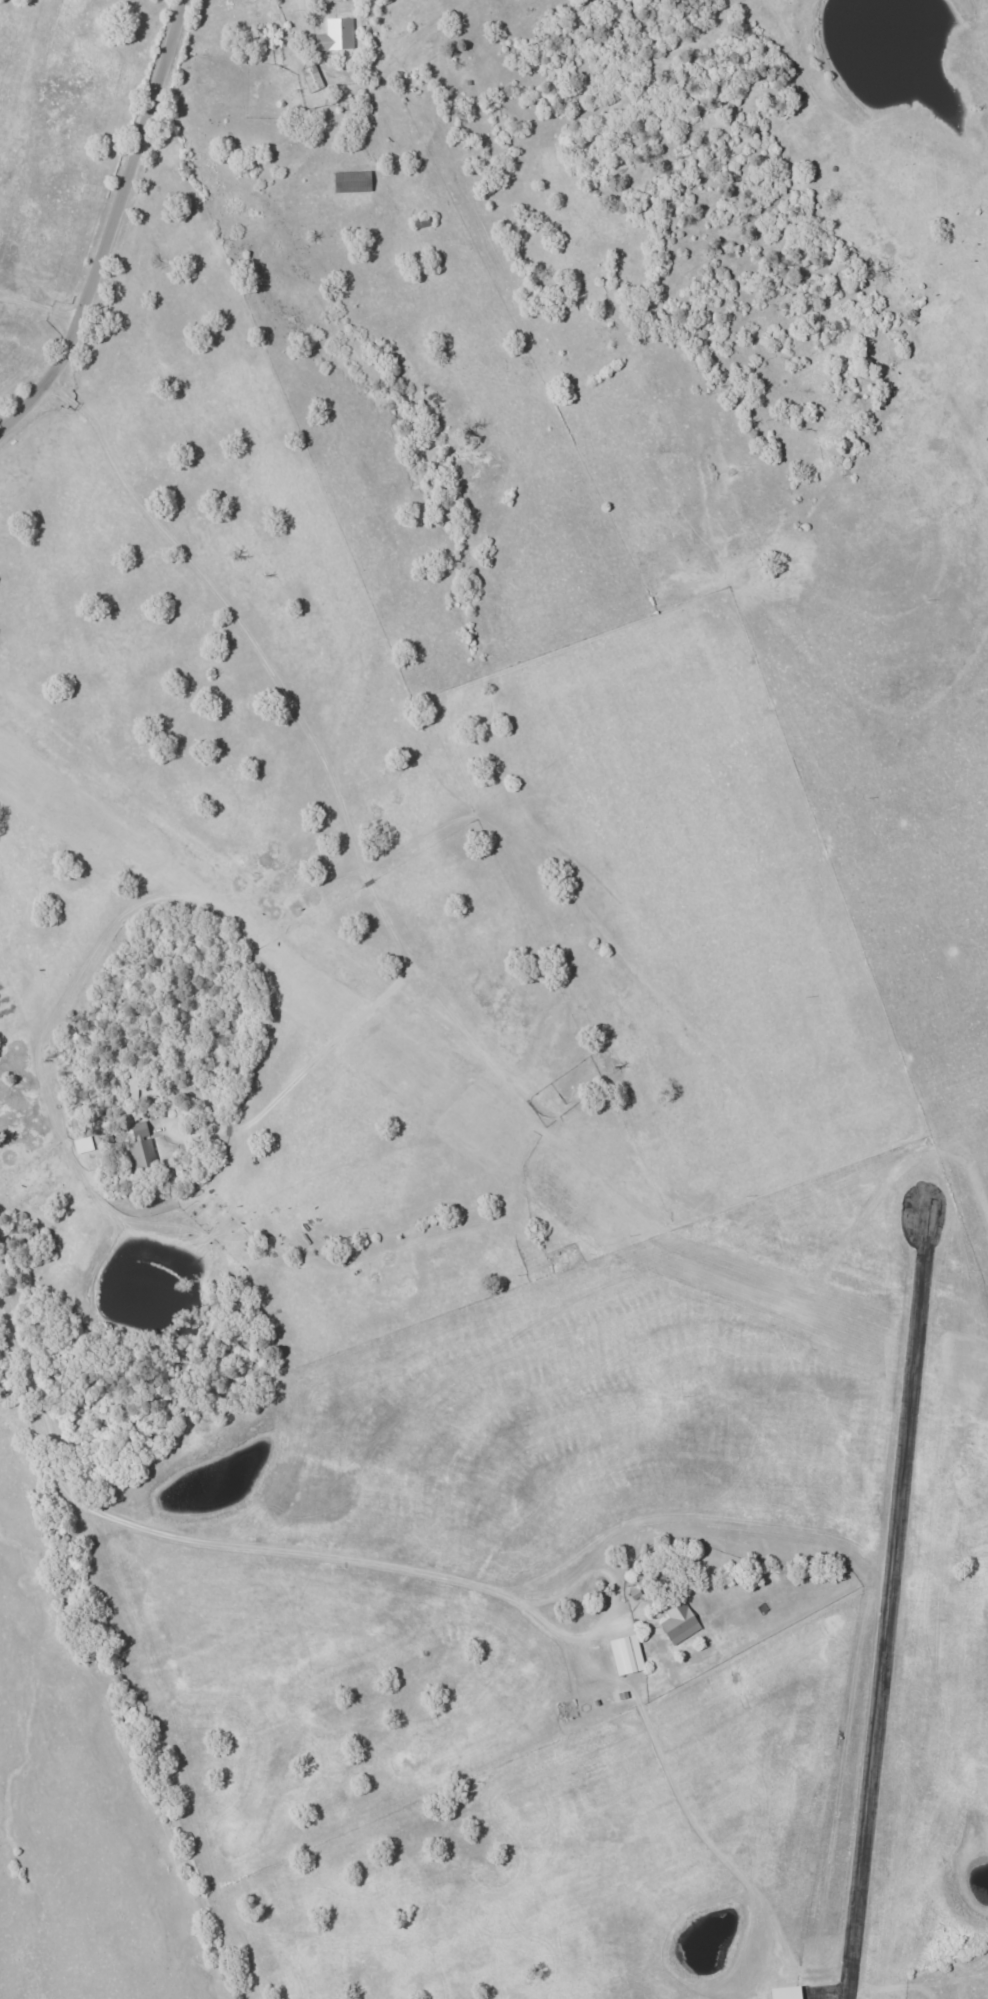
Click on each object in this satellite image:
road: (322, 35)
building: (336, 35)
building: (351, 182)
road: (110, 226)
road: (38, 312)
road: (330, 779)
building: (82, 1145)
building: (141, 1153)
road: (193, 1540)
road: (615, 1599)
airport runway: (886, 1617)
building: (678, 1623)
building: (625, 1655)
building: (785, 1992)
airport hangar: (784, 1993)

